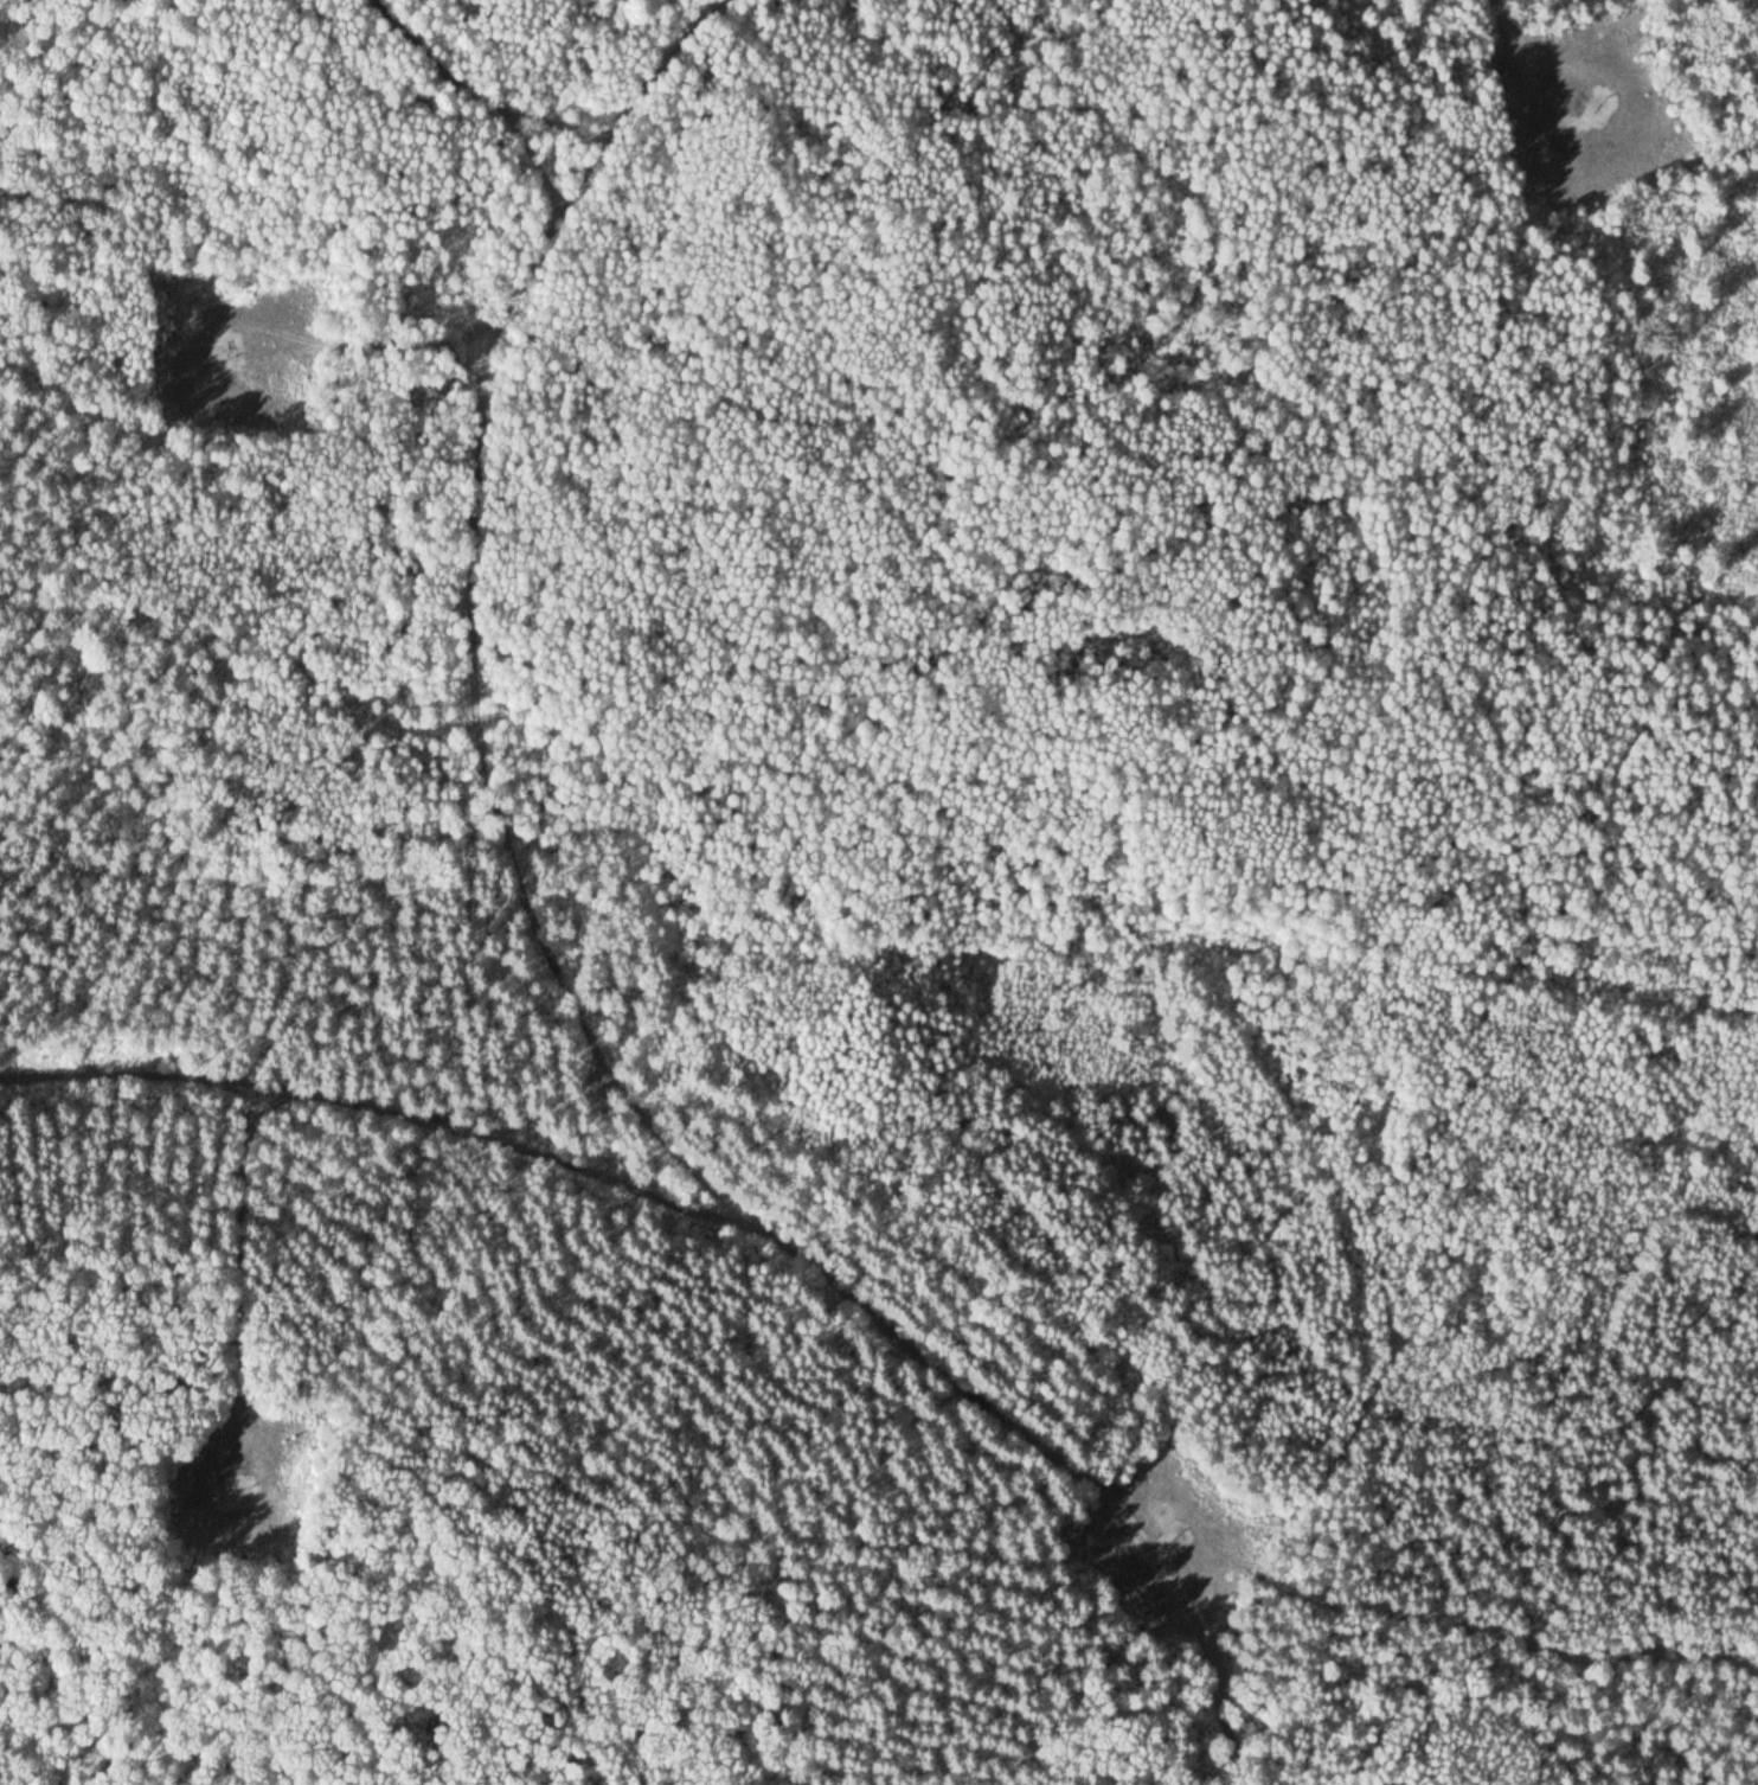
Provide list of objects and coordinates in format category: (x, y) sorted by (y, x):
road: (1503, 28)
petroleum well: (1596, 107)
road: (1608, 116)
road: (309, 339)
petroleum well: (233, 347)
road: (570, 984)
road: (557, 1106)
road: (386, 1111)
road: (238, 1358)
petroleum well: (240, 1486)
petroleum well: (1173, 1537)

